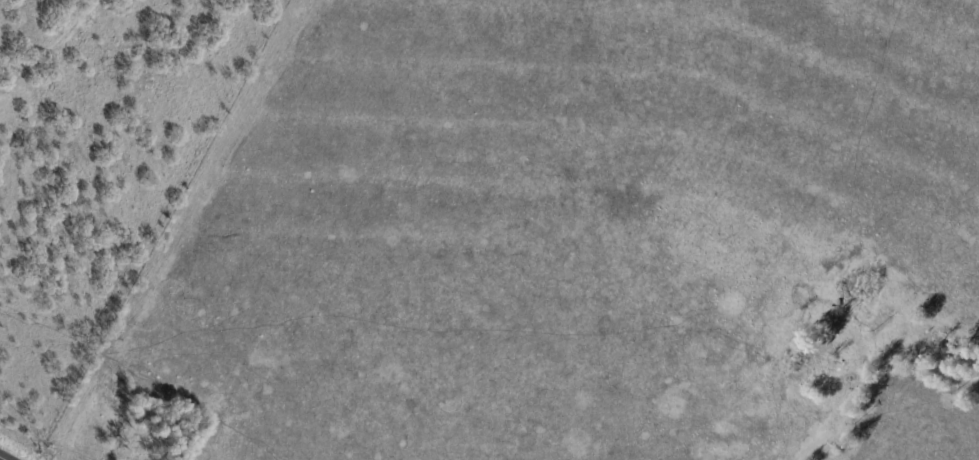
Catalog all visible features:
building: (868, 294)
building: (834, 322)
building: (957, 354)
building: (813, 378)
road: (844, 417)
building: (141, 441)
road: (0, 459)

